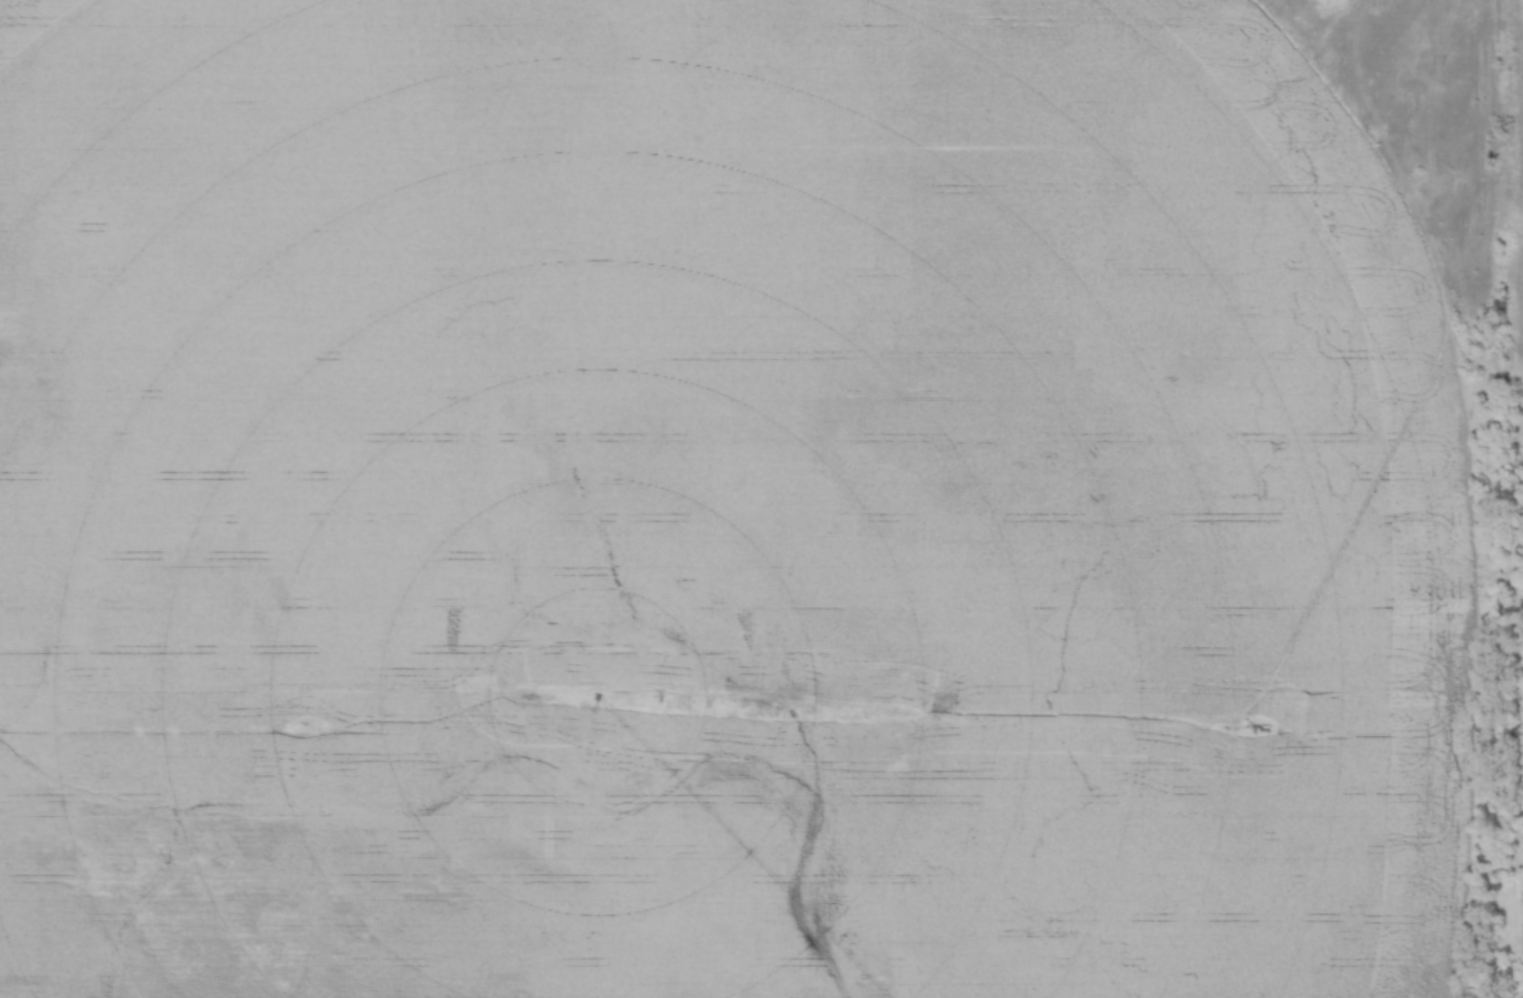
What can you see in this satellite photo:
road: (1509, 499)

